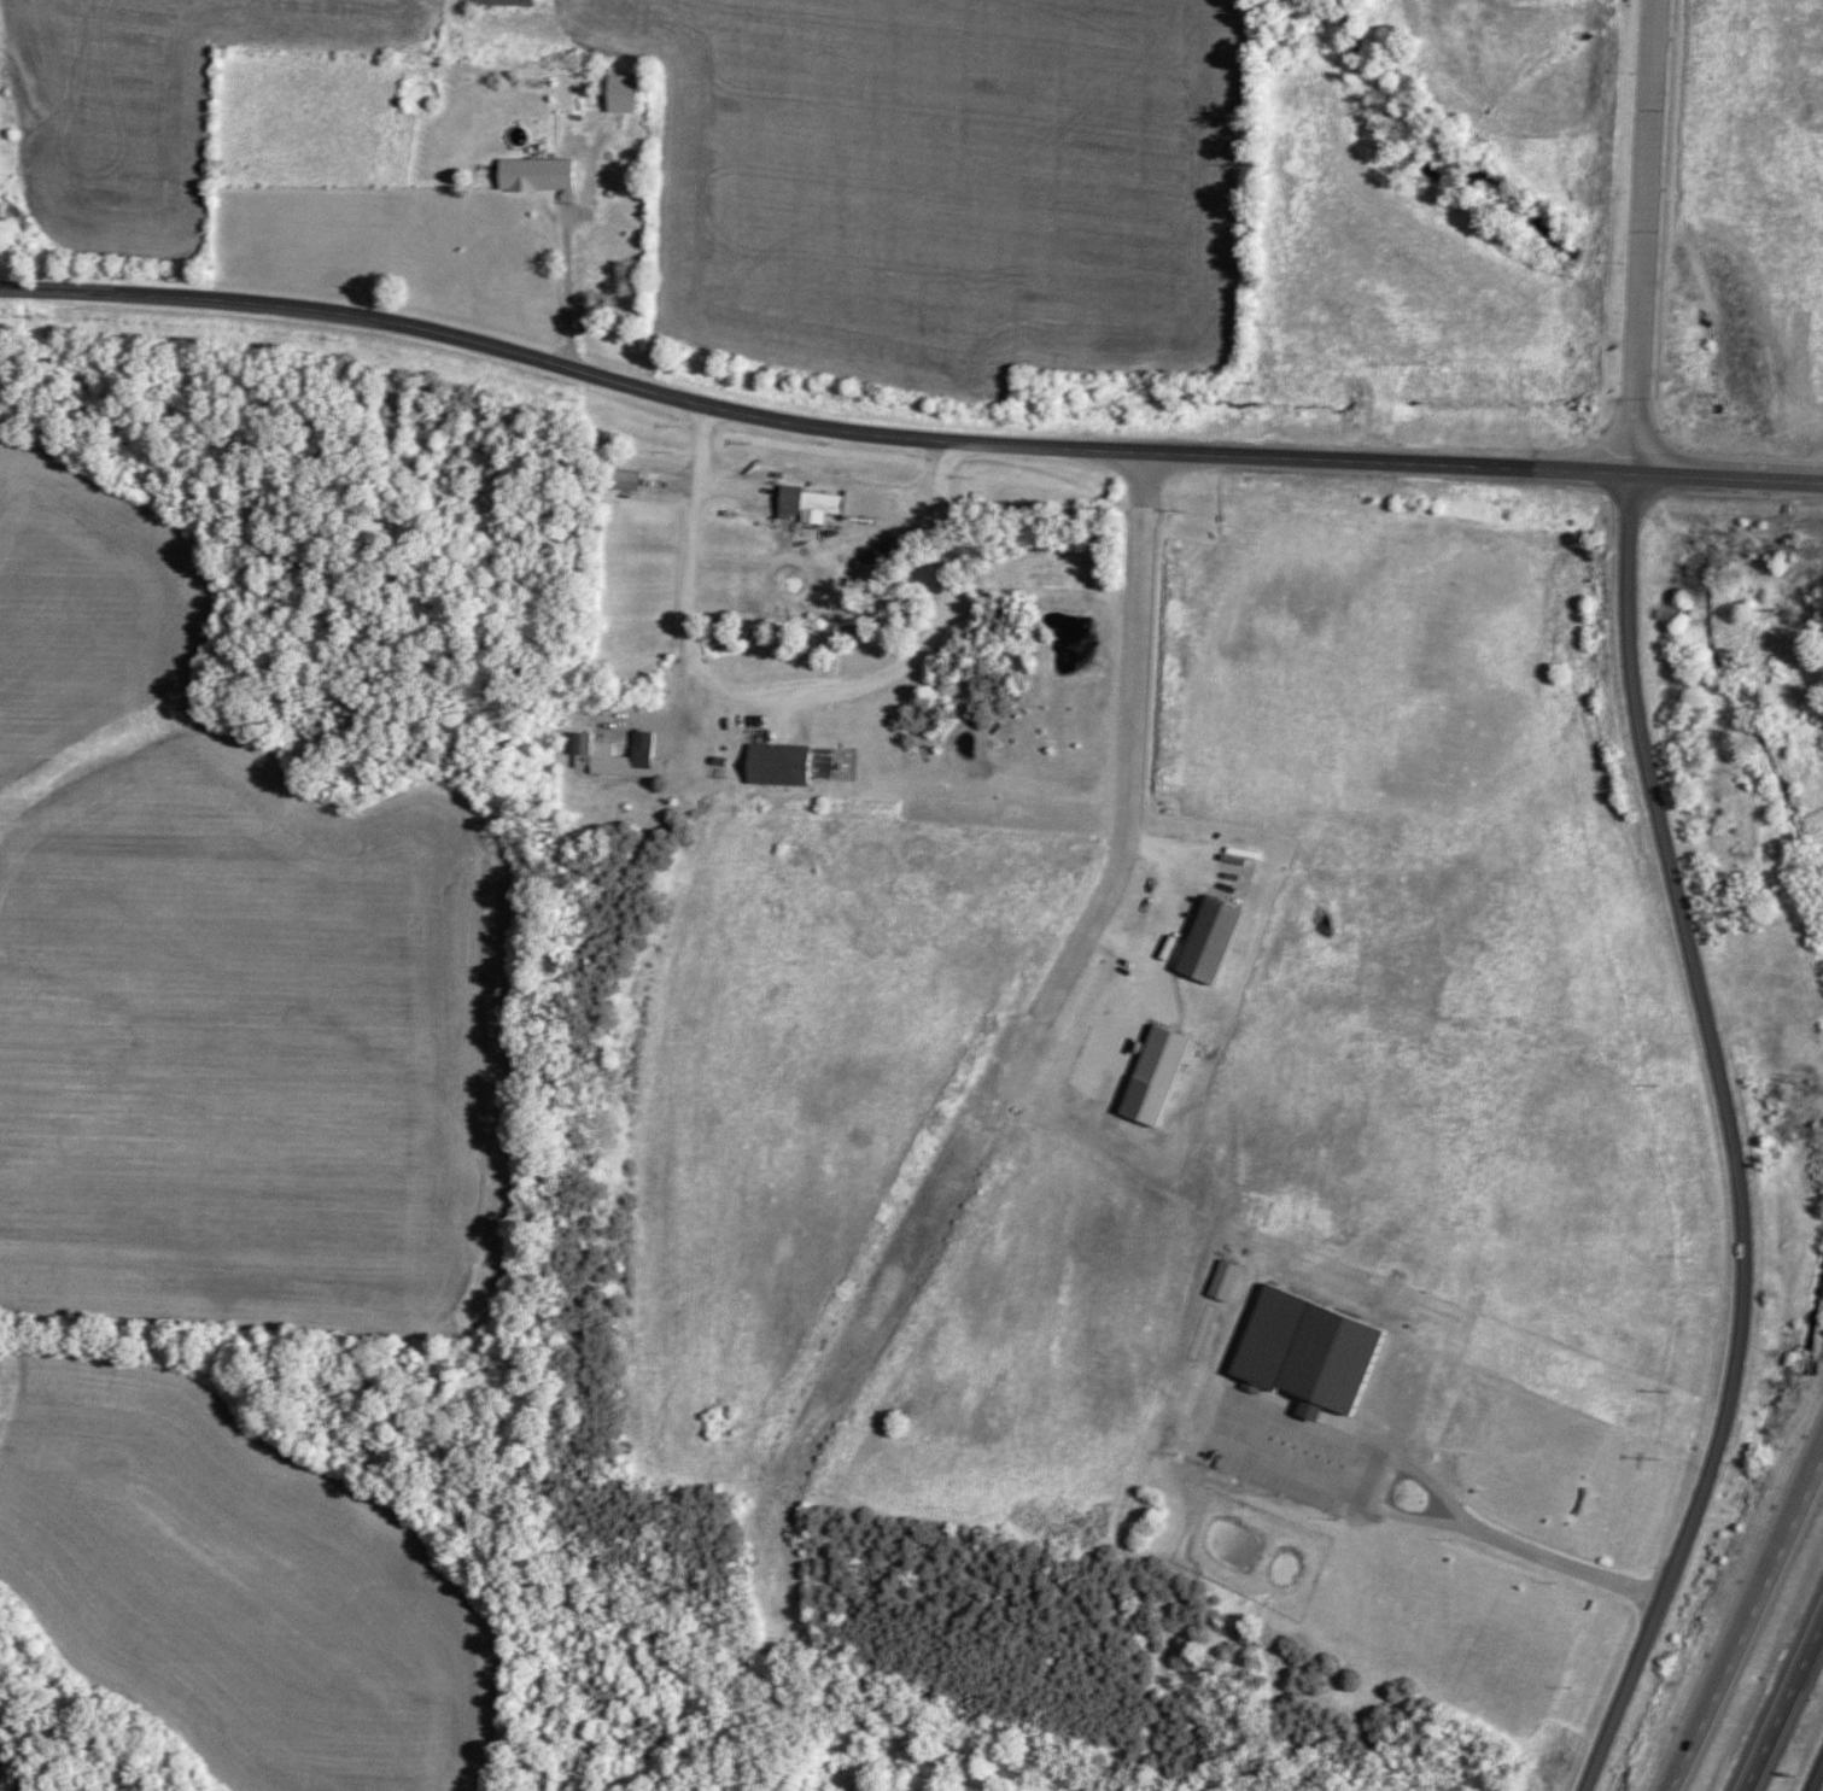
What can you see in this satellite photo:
building: (509, 4)
building: (610, 95)
building: (528, 177)
road: (1641, 244)
road: (566, 257)
road: (1804, 387)
road: (904, 441)
building: (625, 481)
building: (813, 505)
road: (789, 704)
road: (1127, 754)
building: (779, 766)
building: (1214, 942)
road: (1731, 1147)
building: (1225, 1281)
building: (1311, 1351)
road: (1433, 1529)
road: (1746, 1623)
road: (1782, 1705)
road: (1817, 1779)

